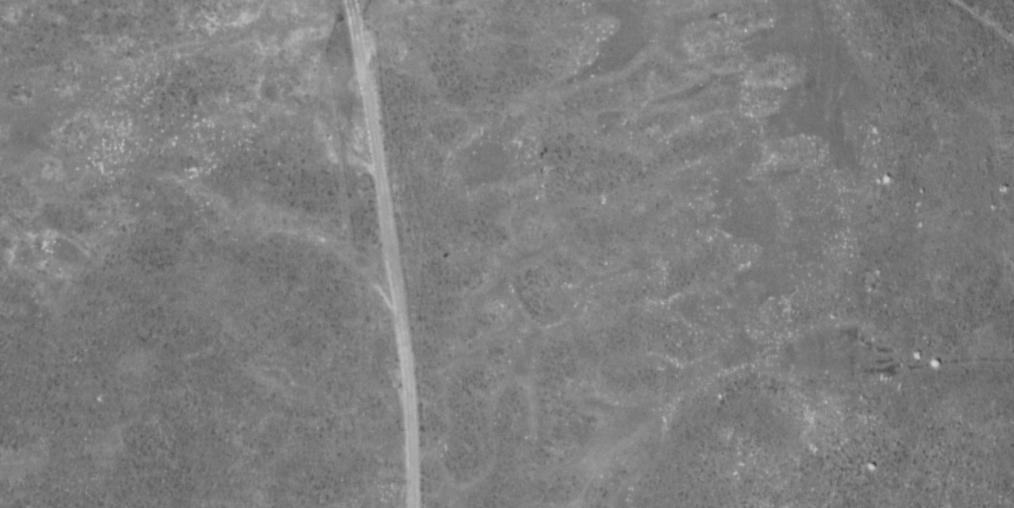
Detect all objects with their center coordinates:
road: (392, 252)

